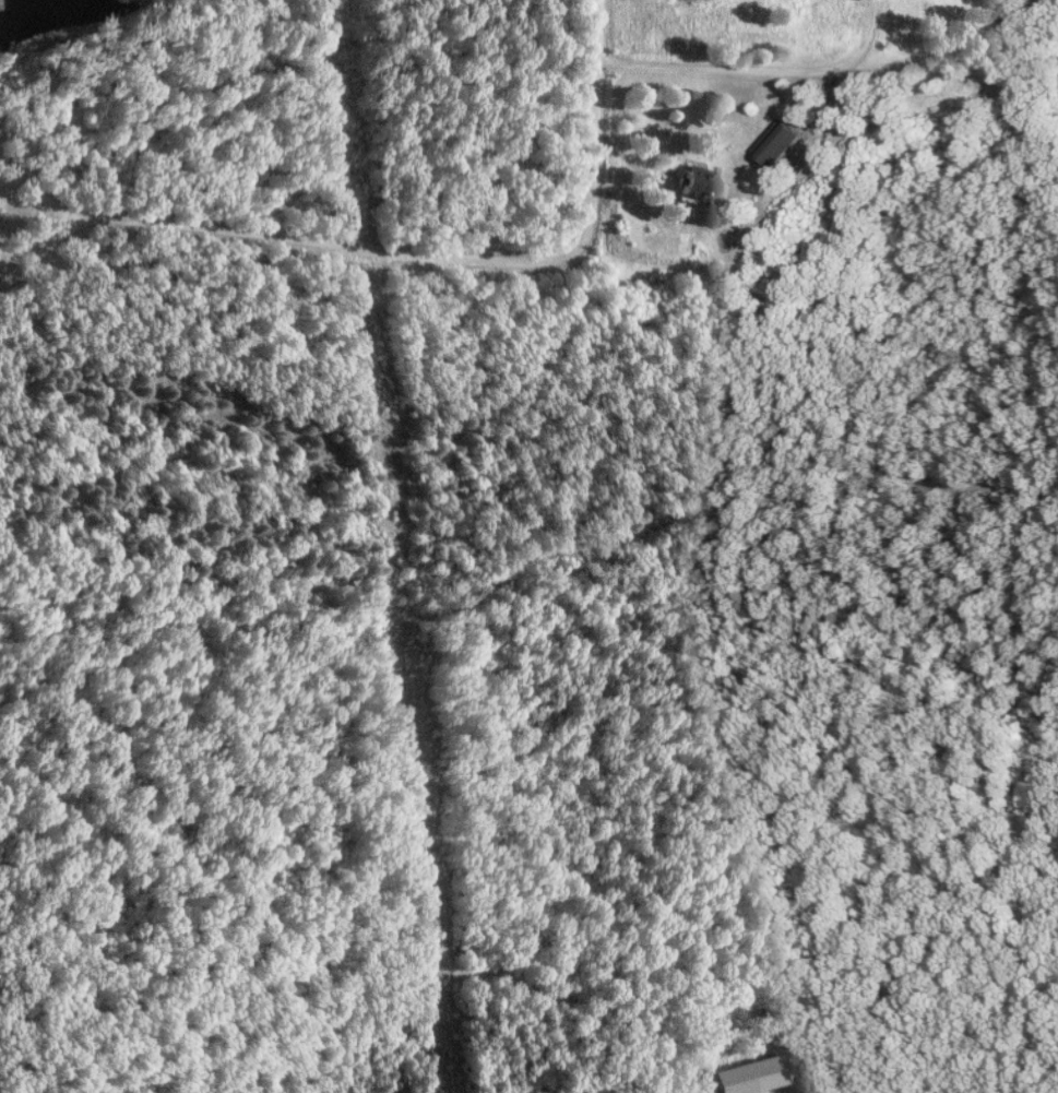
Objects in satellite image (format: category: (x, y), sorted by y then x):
road: (762, 68)
building: (777, 146)
building: (698, 183)
road: (461, 256)
building: (746, 1076)

